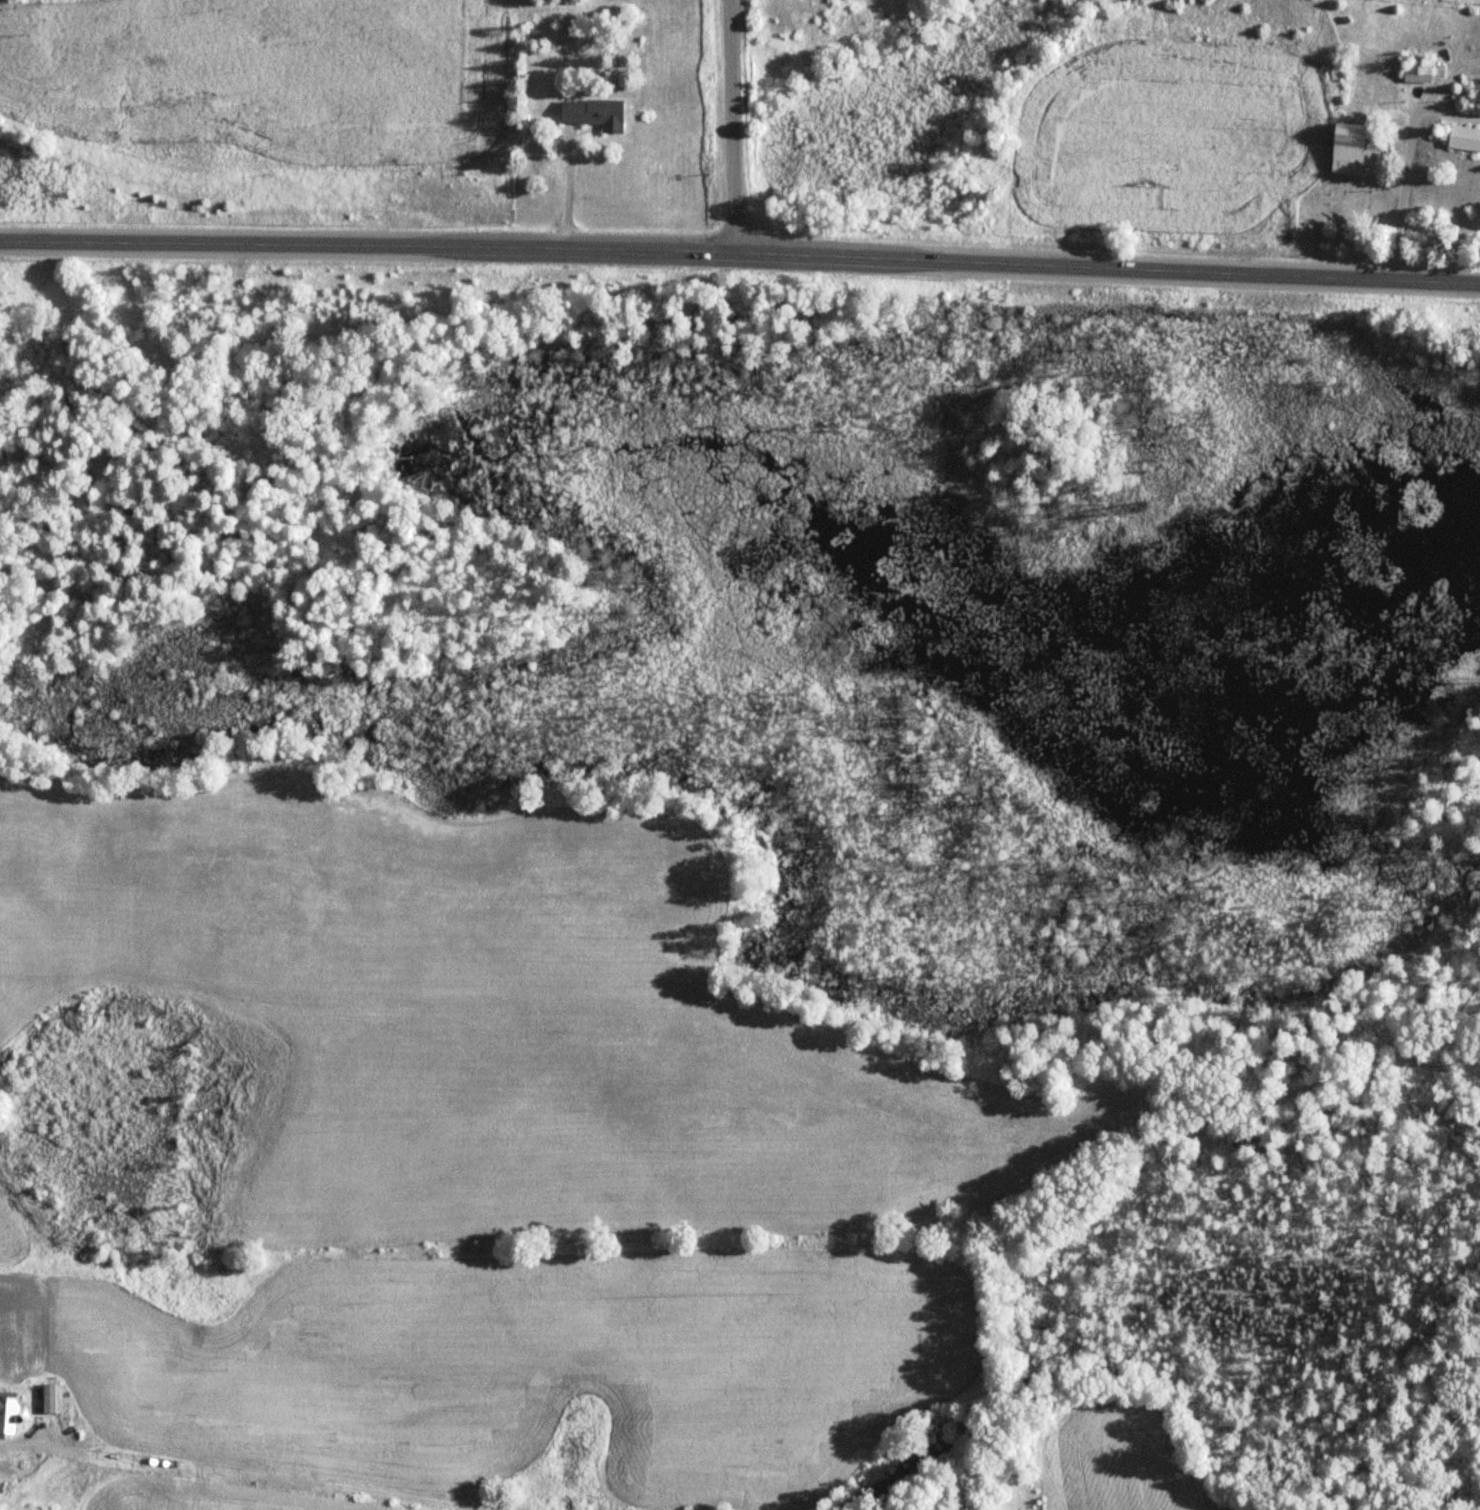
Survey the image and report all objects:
building: (1415, 73)
building: (589, 117)
road: (728, 123)
building: (1459, 139)
building: (1346, 149)
road: (740, 248)
building: (6, 1414)

